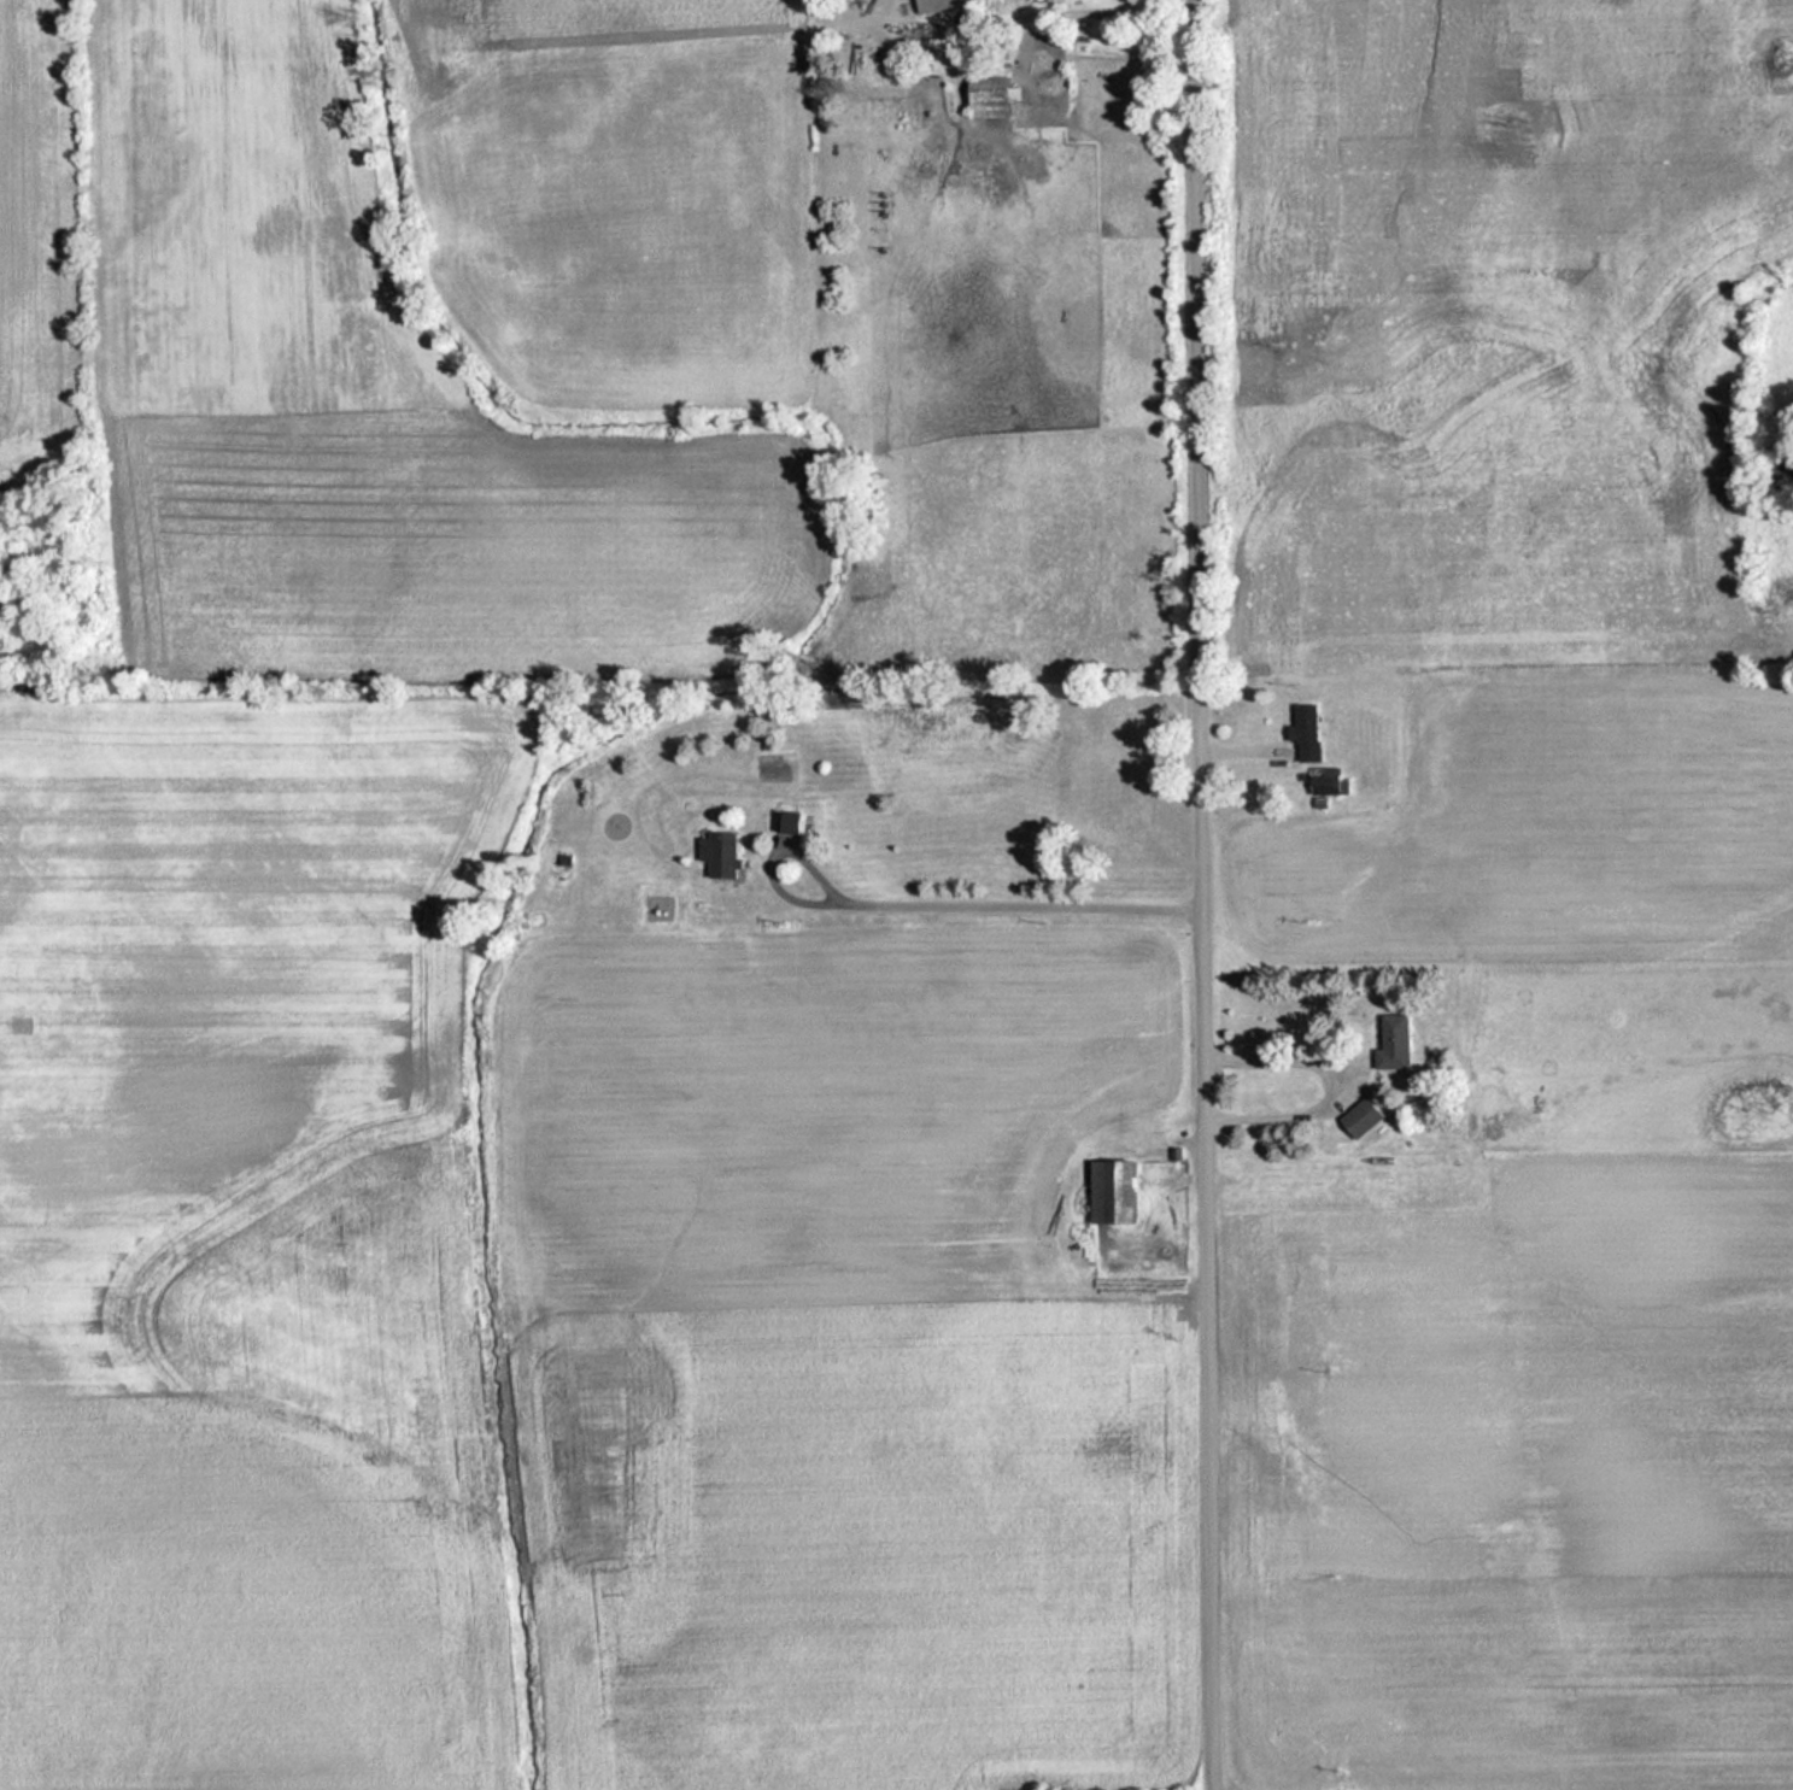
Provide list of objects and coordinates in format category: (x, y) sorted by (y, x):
building: (950, 6)
building: (996, 98)
building: (1314, 733)
building: (1331, 781)
building: (725, 855)
road: (1202, 894)
building: (1399, 1043)
building: (1366, 1117)
building: (1120, 1193)

